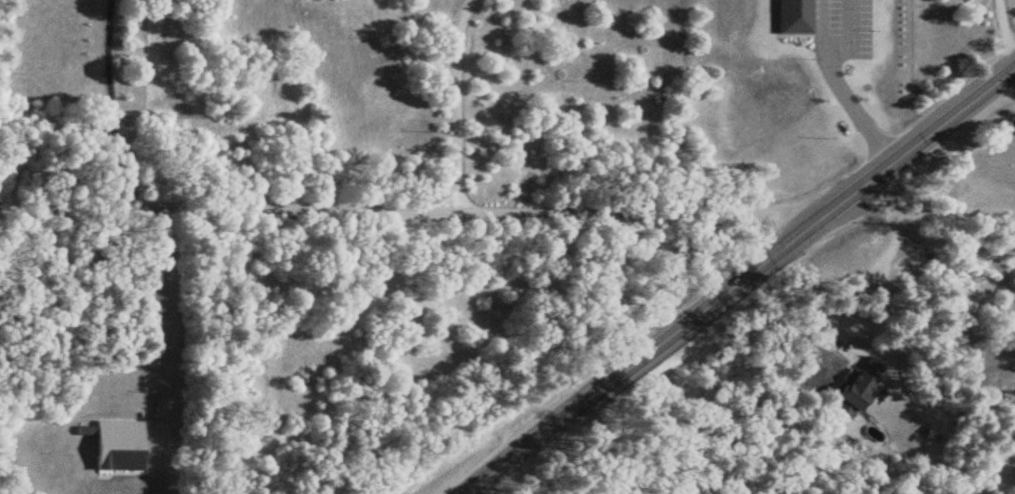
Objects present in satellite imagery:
road: (1006, 32)
road: (850, 99)
road: (111, 101)
road: (457, 103)
road: (413, 208)
road: (921, 209)
road: (736, 278)
road: (856, 279)
road: (161, 347)
building: (846, 387)
building: (118, 446)

